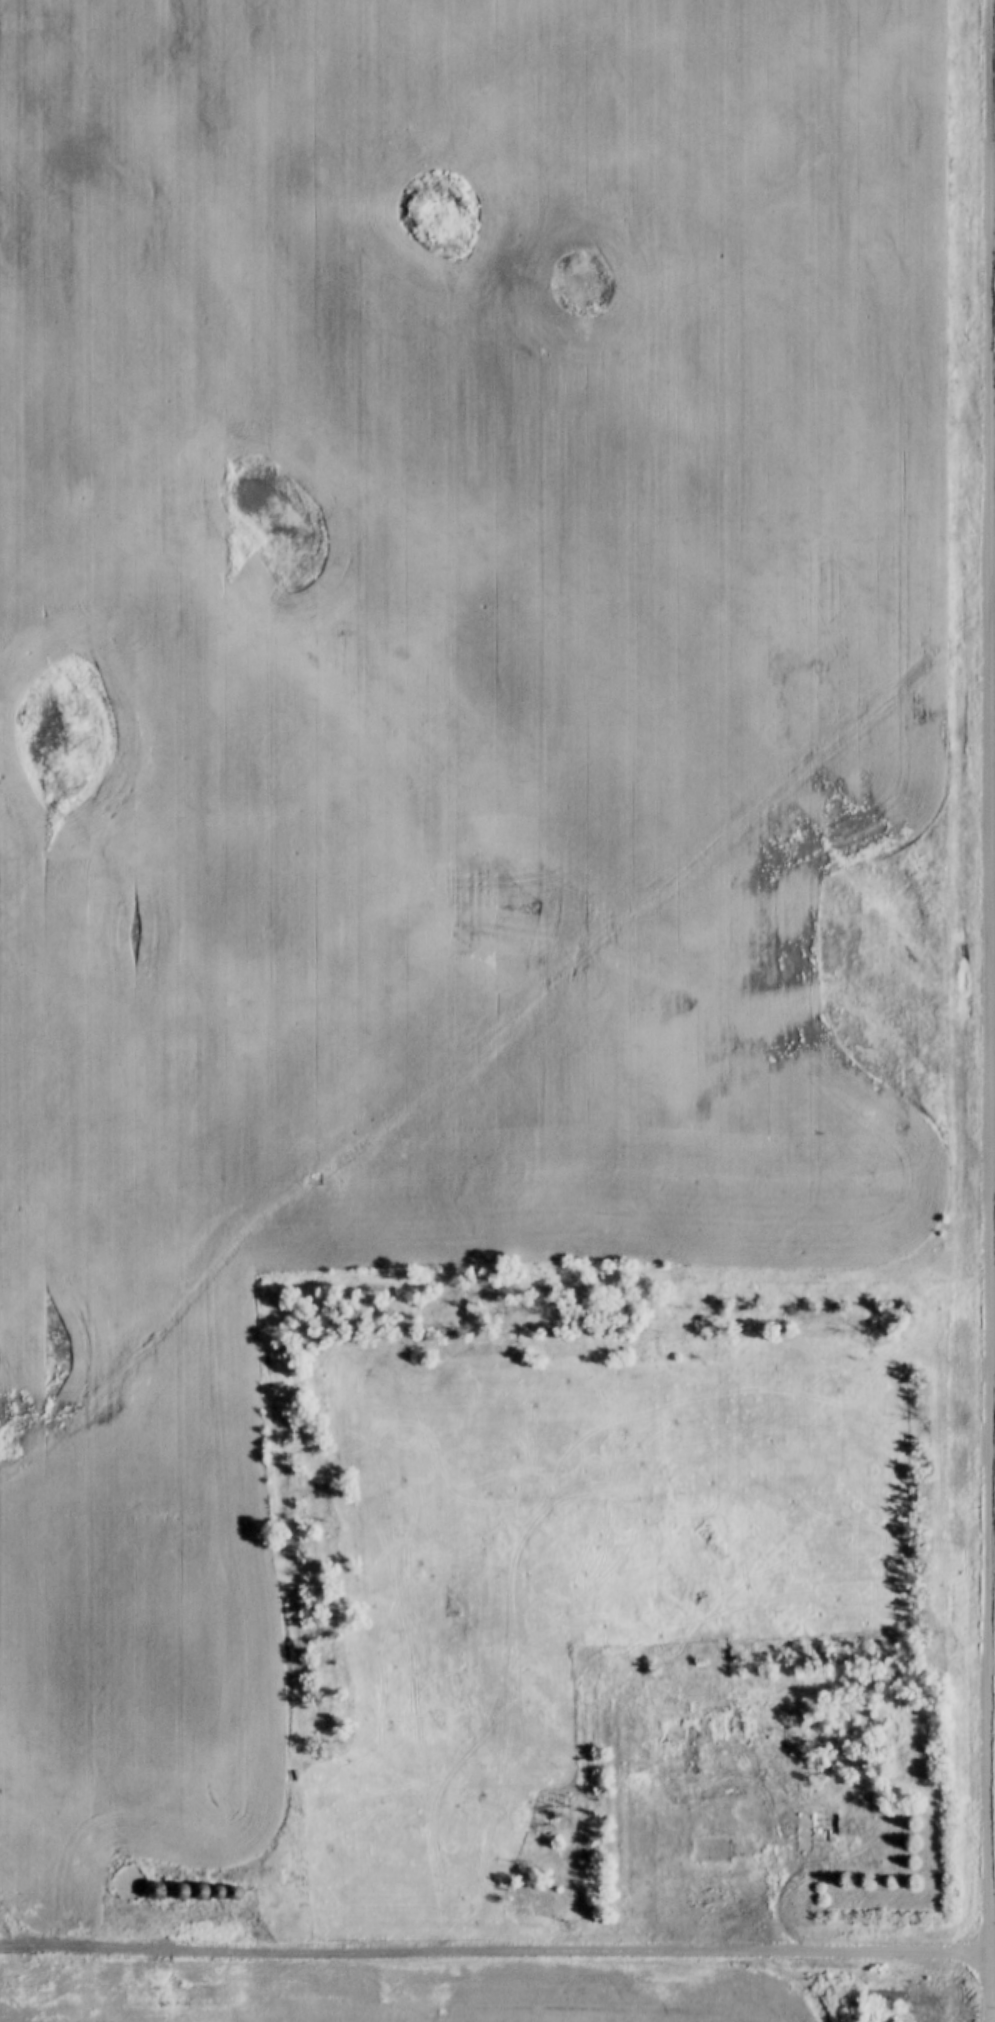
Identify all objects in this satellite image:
road: (992, 1011)
building: (718, 1728)
building: (770, 1734)
building: (797, 1734)
building: (644, 1769)
building: (821, 1824)
building: (714, 1850)
building: (128, 1884)
silo: (128, 1884)
building: (158, 1893)
silo: (158, 1893)
building: (183, 1894)
silo: (183, 1894)
building: (202, 1894)
silo: (202, 1894)
building: (220, 1894)
silo: (220, 1894)
building: (236, 1895)
silo: (236, 1895)
road: (770, 1901)
road: (398, 1950)
road: (894, 1952)
road: (993, 1954)
building: (890, 1995)

